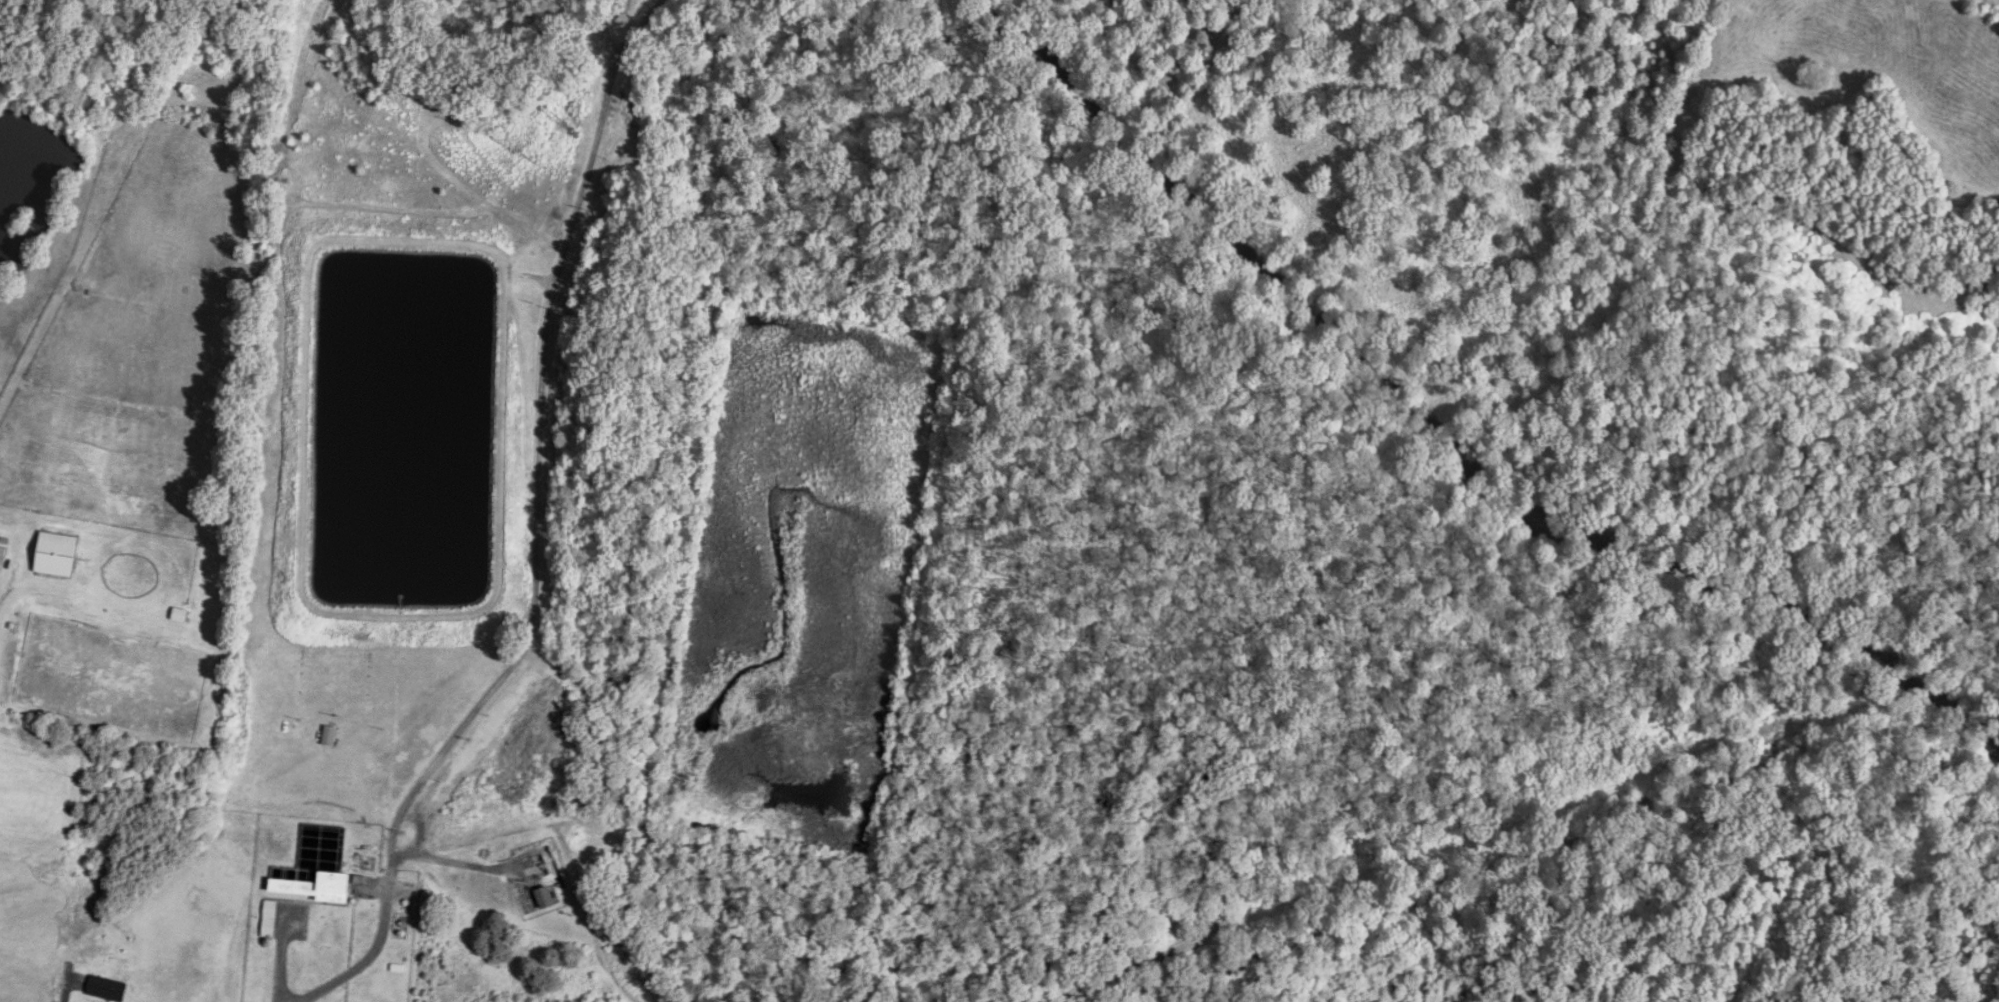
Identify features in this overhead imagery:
road: (539, 530)
building: (56, 554)
road: (6, 588)
building: (180, 615)
building: (330, 735)
building: (318, 887)
building: (545, 898)
building: (269, 923)
building: (107, 989)

